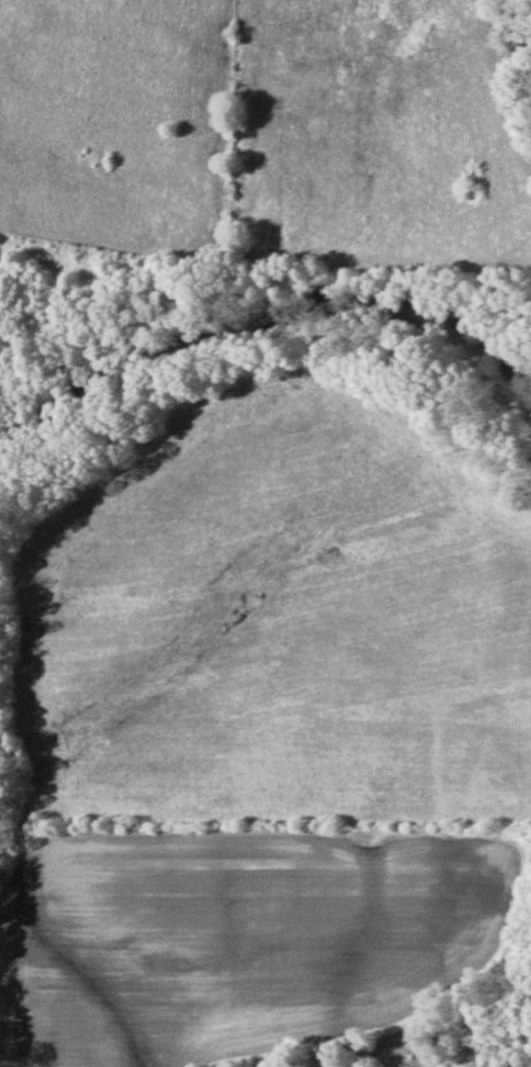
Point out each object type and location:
river: (521, 21)
river: (280, 312)

